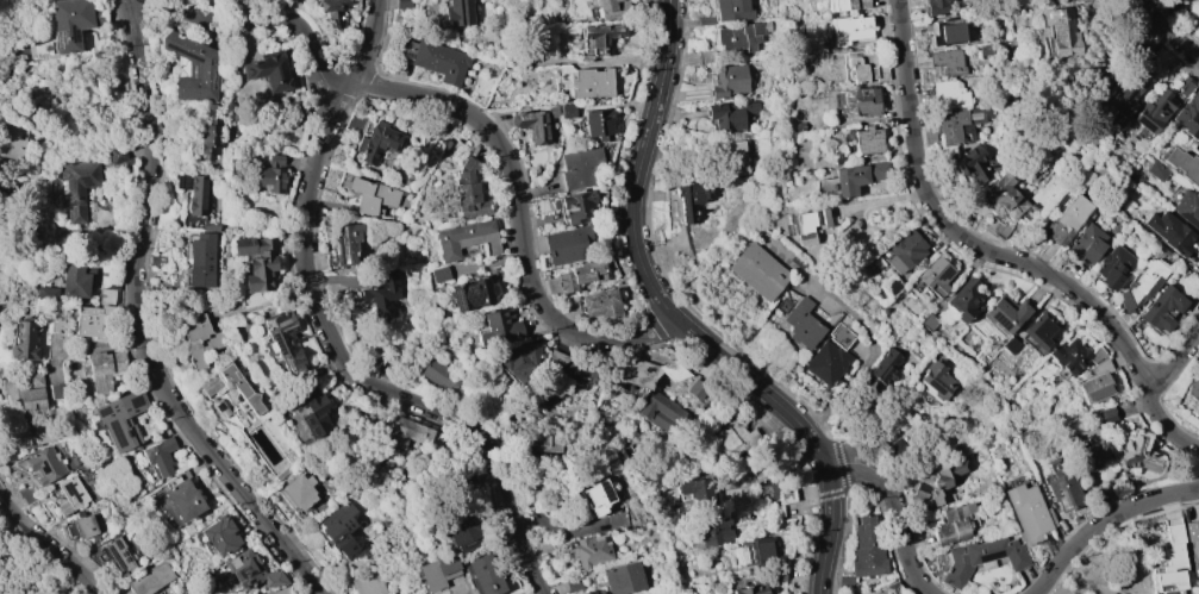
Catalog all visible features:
building: (239, 1)
building: (294, 1)
building: (1198, 1)
road: (656, 2)
building: (402, 4)
building: (845, 5)
building: (936, 7)
building: (612, 8)
building: (732, 10)
building: (332, 12)
building: (455, 14)
building: (71, 23)
building: (849, 29)
road: (1166, 29)
building: (1057, 31)
building: (944, 32)
building: (600, 33)
building: (741, 36)
building: (519, 56)
building: (705, 56)
building: (436, 60)
road: (651, 61)
building: (947, 61)
building: (193, 67)
building: (860, 68)
building: (269, 70)
building: (729, 81)
building: (591, 83)
road: (647, 83)
building: (1184, 86)
building: (1124, 94)
building: (947, 95)
building: (860, 101)
road: (641, 107)
building: (561, 111)
building: (1154, 112)
road: (472, 114)
building: (729, 115)
building: (1188, 115)
road: (637, 119)
building: (598, 124)
building: (531, 125)
building: (958, 125)
building: (210, 131)
building: (868, 140)
building: (12, 143)
building: (377, 143)
road: (80, 144)
building: (1198, 149)
building: (115, 155)
building: (732, 157)
road: (614, 158)
building: (970, 163)
building: (1184, 164)
building: (579, 168)
building: (1156, 170)
building: (270, 175)
building: (857, 177)
building: (77, 187)
building: (468, 192)
road: (12, 193)
building: (196, 195)
building: (371, 195)
building: (1001, 198)
building: (691, 200)
road: (878, 202)
building: (574, 206)
building: (1187, 208)
road: (618, 211)
building: (1066, 219)
building: (210, 225)
building: (805, 225)
road: (618, 226)
building: (995, 227)
park: (7, 231)
building: (1169, 232)
road: (14, 239)
building: (466, 239)
building: (346, 242)
building: (1087, 243)
building: (566, 245)
road: (622, 245)
building: (904, 251)
road: (623, 255)
road: (997, 256)
road: (30, 260)
building: (200, 260)
building: (156, 261)
building: (256, 262)
road: (625, 264)
building: (1114, 267)
building: (757, 271)
building: (438, 274)
building: (935, 275)
building: (575, 277)
building: (75, 280)
road: (635, 281)
building: (1142, 285)
building: (889, 286)
road: (641, 292)
building: (48, 293)
building: (380, 293)
building: (472, 293)
building: (105, 295)
building: (964, 299)
building: (600, 304)
building: (1163, 308)
building: (1006, 312)
road: (676, 321)
building: (928, 321)
building: (90, 323)
building: (55, 324)
building: (801, 324)
road: (139, 325)
building: (497, 326)
road: (655, 326)
building: (1042, 330)
road: (329, 334)
building: (839, 336)
building: (198, 339)
building: (282, 339)
building: (23, 342)
building: (1010, 345)
road: (689, 346)
building: (1074, 356)
building: (516, 362)
building: (552, 362)
road: (707, 362)
building: (826, 362)
road: (1176, 362)
building: (104, 369)
building: (882, 369)
building: (579, 370)
building: (638, 371)
building: (442, 376)
building: (936, 379)
building: (33, 380)
building: (1095, 382)
building: (695, 389)
building: (1192, 389)
building: (56, 390)
building: (242, 392)
building: (23, 396)
building: (661, 412)
building: (314, 413)
building: (1105, 415)
building: (120, 418)
road: (775, 420)
building: (405, 431)
building: (37, 434)
building: (733, 434)
building: (544, 440)
road: (783, 444)
building: (957, 448)
building: (1088, 448)
building: (1135, 455)
building: (158, 457)
building: (44, 464)
building: (941, 481)
building: (1061, 489)
building: (694, 490)
road: (843, 490)
building: (296, 492)
building: (768, 492)
road: (1, 495)
building: (69, 495)
building: (786, 495)
road: (814, 495)
building: (599, 496)
building: (181, 498)
road: (903, 504)
building: (1028, 513)
building: (617, 520)
road: (1104, 521)
building: (85, 527)
building: (951, 527)
building: (339, 529)
building: (713, 531)
building: (219, 534)
building: (466, 537)
road: (46, 544)
building: (1192, 545)
building: (867, 549)
building: (592, 550)
building: (755, 550)
building: (118, 555)
building: (981, 558)
road: (806, 562)
building: (1170, 562)
park: (26, 569)
road: (23, 570)
building: (251, 570)
building: (438, 571)
building: (482, 575)
building: (775, 575)
road: (804, 575)
building: (623, 579)
building: (148, 580)
building: (845, 582)
building: (368, 583)
building: (574, 584)
building: (750, 588)
road: (29, 589)
building: (891, 589)
building: (280, 592)

